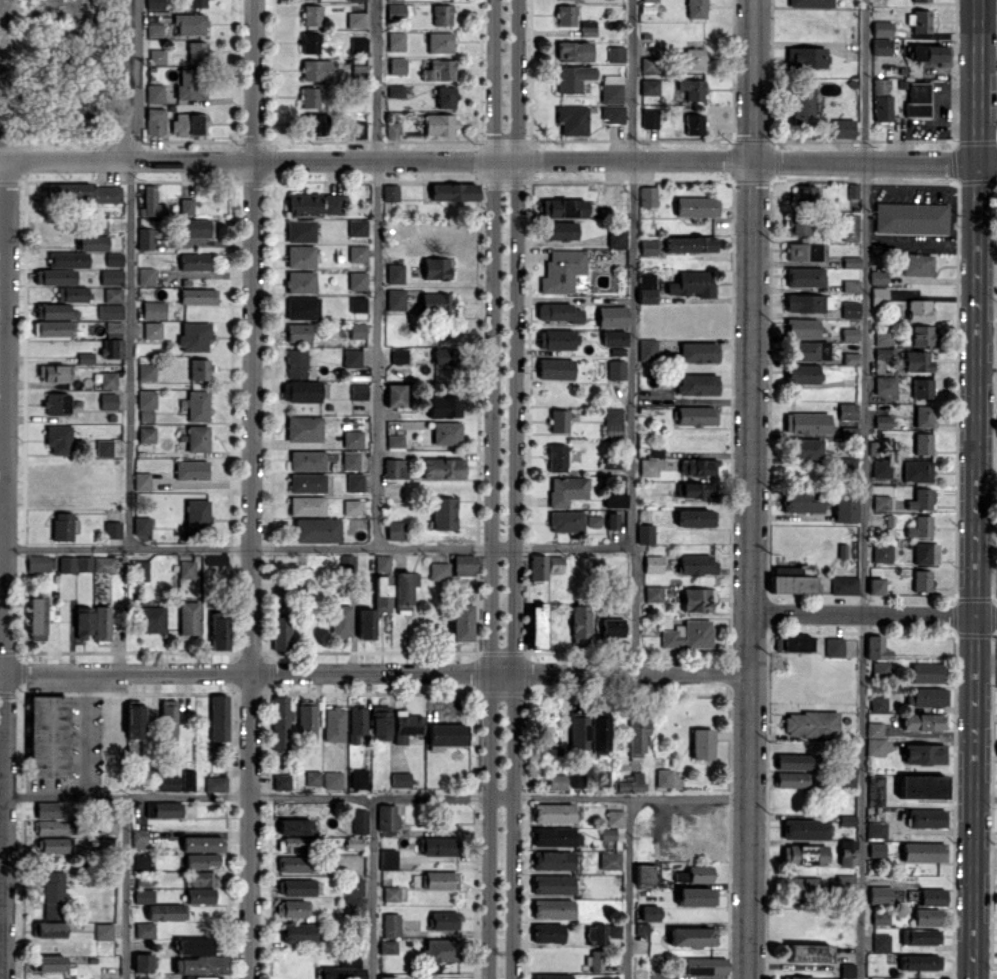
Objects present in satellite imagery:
building: (560, 0)
building: (649, 0)
building: (921, 0)
building: (810, 3)
building: (196, 4)
building: (154, 5)
building: (696, 9)
building: (395, 10)
building: (310, 14)
building: (441, 15)
building: (565, 15)
building: (355, 19)
building: (920, 21)
building: (190, 25)
building: (881, 29)
building: (154, 30)
building: (587, 30)
building: (395, 41)
building: (309, 42)
building: (439, 42)
building: (358, 45)
building: (880, 47)
building: (196, 51)
building: (573, 51)
building: (615, 54)
building: (923, 54)
road: (987, 54)
building: (796, 58)
building: (694, 59)
building: (316, 69)
building: (440, 69)
building: (573, 78)
building: (613, 78)
road: (138, 81)
road: (124, 82)
building: (189, 85)
building: (649, 87)
building: (691, 89)
building: (395, 90)
building: (611, 93)
building: (154, 94)
building: (445, 96)
building: (309, 98)
building: (916, 99)
building: (802, 107)
building: (881, 107)
building: (612, 113)
building: (649, 119)
building: (572, 120)
building: (154, 121)
building: (693, 124)
building: (438, 125)
road: (498, 166)
building: (446, 193)
building: (803, 194)
building: (647, 196)
building: (152, 202)
building: (315, 203)
building: (696, 207)
building: (563, 208)
building: (910, 218)
building: (796, 225)
building: (849, 227)
building: (357, 228)
building: (300, 230)
building: (561, 231)
building: (144, 238)
building: (617, 238)
building: (92, 242)
building: (688, 246)
building: (647, 247)
building: (801, 252)
building: (357, 254)
building: (300, 256)
building: (67, 259)
building: (194, 262)
building: (916, 264)
building: (435, 268)
building: (561, 271)
road: (381, 273)
building: (395, 273)
building: (57, 276)
building: (804, 277)
building: (356, 281)
building: (300, 282)
building: (678, 285)
building: (850, 286)
building: (74, 293)
building: (197, 297)
building: (395, 300)
building: (436, 302)
building: (111, 304)
building: (357, 305)
building: (804, 305)
building: (302, 307)
building: (56, 310)
building: (153, 310)
building: (849, 310)
building: (558, 313)
building: (54, 329)
building: (801, 329)
building: (152, 330)
building: (357, 330)
building: (298, 332)
building: (848, 334)
road: (639, 336)
building: (922, 336)
building: (194, 337)
building: (613, 338)
building: (882, 338)
building: (556, 341)
building: (108, 349)
building: (647, 349)
building: (807, 351)
building: (695, 353)
road: (130, 355)
building: (84, 357)
building: (351, 358)
building: (443, 358)
building: (882, 358)
building: (916, 362)
building: (296, 364)
building: (199, 369)
building: (555, 370)
building: (146, 372)
building: (56, 374)
building: (802, 374)
building: (108, 380)
building: (695, 385)
building: (884, 385)
building: (921, 389)
building: (358, 391)
building: (303, 392)
building: (395, 396)
building: (107, 401)
building: (56, 405)
building: (146, 406)
building: (197, 406)
building: (443, 406)
building: (695, 416)
building: (923, 416)
building: (558, 422)
building: (809, 422)
building: (882, 422)
building: (303, 429)
building: (446, 433)
building: (146, 434)
building: (58, 438)
building: (197, 439)
building: (352, 439)
building: (395, 440)
building: (922, 443)
building: (806, 448)
building: (654, 453)
building: (307, 459)
building: (556, 459)
building: (350, 460)
building: (648, 467)
building: (695, 468)
building: (395, 469)
building: (881, 469)
building: (190, 470)
building: (442, 470)
building: (917, 470)
building: (306, 482)
building: (354, 482)
road: (250, 489)
road: (487, 489)
road: (519, 489)
road: (749, 489)
road: (863, 489)
road: (973, 489)
building: (566, 490)
building: (694, 491)
building: (920, 499)
building: (614, 500)
building: (802, 502)
building: (881, 502)
building: (306, 505)
building: (351, 507)
building: (845, 508)
building: (443, 513)
building: (196, 514)
building: (696, 517)
building: (612, 520)
building: (566, 521)
building: (593, 521)
building: (141, 525)
building: (62, 526)
building: (919, 526)
building: (112, 529)
building: (317, 530)
building: (395, 530)
building: (645, 533)
road: (578, 547)
road: (245, 548)
building: (842, 550)
building: (882, 553)
building: (925, 553)
building: (38, 562)
building: (86, 563)
building: (555, 563)
building: (653, 563)
building: (382, 564)
building: (463, 564)
building: (696, 564)
building: (538, 566)
building: (187, 568)
road: (4, 570)
building: (140, 570)
building: (438, 570)
building: (795, 571)
building: (922, 580)
building: (792, 583)
building: (843, 584)
building: (875, 585)
building: (404, 588)
building: (382, 593)
building: (653, 593)
building: (697, 599)
road: (873, 614)
building: (188, 617)
building: (37, 618)
building: (150, 619)
building: (83, 621)
building: (340, 621)
building: (101, 622)
building: (461, 622)
building: (365, 623)
building: (580, 623)
building: (536, 625)
building: (612, 627)
building: (219, 633)
building: (281, 633)
building: (688, 634)
building: (793, 643)
building: (834, 647)
building: (876, 648)
building: (880, 668)
building: (926, 672)
road: (374, 673)
building: (926, 696)
building: (878, 703)
building: (218, 717)
building: (134, 719)
building: (167, 719)
building: (306, 720)
building: (923, 721)
building: (356, 722)
building: (380, 722)
building: (280, 723)
building: (811, 723)
building: (334, 724)
building: (406, 726)
building: (874, 729)
building: (578, 733)
road: (83, 734)
building: (445, 734)
building: (600, 734)
building: (48, 736)
building: (637, 736)
building: (701, 743)
building: (875, 747)
building: (924, 754)
building: (794, 761)
building: (848, 776)
building: (312, 777)
building: (663, 777)
building: (358, 778)
building: (187, 779)
building: (400, 779)
building: (576, 779)
building: (791, 779)
building: (332, 780)
building: (281, 781)
building: (557, 781)
building: (169, 783)
building: (215, 783)
building: (629, 783)
building: (922, 786)
building: (874, 790)
road: (242, 796)
road: (633, 798)
building: (47, 809)
building: (163, 809)
building: (553, 812)
building: (386, 817)
building: (926, 817)
building: (614, 818)
building: (847, 819)
building: (359, 821)
building: (294, 826)
building: (53, 827)
building: (805, 829)
building: (875, 829)
building: (608, 834)
building: (555, 836)
building: (138, 838)
building: (201, 843)
building: (290, 844)
building: (53, 845)
building: (439, 846)
building: (876, 849)
building: (923, 851)
building: (847, 852)
building: (804, 854)
building: (387, 859)
building: (202, 860)
building: (552, 860)
building: (610, 860)
building: (141, 861)
building: (294, 863)
building: (699, 873)
building: (644, 874)
building: (201, 878)
building: (434, 880)
building: (552, 884)
building: (354, 886)
building: (845, 886)
road: (126, 887)
building: (295, 887)
road: (373, 887)
road: (631, 888)
building: (802, 889)
building: (391, 893)
building: (53, 894)
building: (879, 894)
building: (143, 895)
building: (200, 895)
building: (694, 896)
building: (932, 896)
building: (352, 905)
building: (292, 908)
building: (552, 908)
building: (165, 912)
building: (650, 912)
building: (927, 916)
building: (880, 918)
building: (444, 920)
building: (390, 924)
building: (641, 928)
building: (48, 929)
building: (144, 929)
building: (103, 931)
building: (298, 932)
building: (547, 932)
building: (601, 933)
building: (692, 936)
building: (920, 936)
building: (881, 942)
building: (195, 946)
building: (387, 946)
building: (441, 949)
building: (809, 952)
building: (594, 961)
building: (919, 961)
building: (48, 962)
building: (141, 962)
building: (200, 964)
building: (701, 965)
building: (847, 970)
building: (341, 972)
building: (551, 976)
building: (609, 976)
building: (144, 977)
building: (202, 977)
building: (386, 977)
building: (810, 977)

